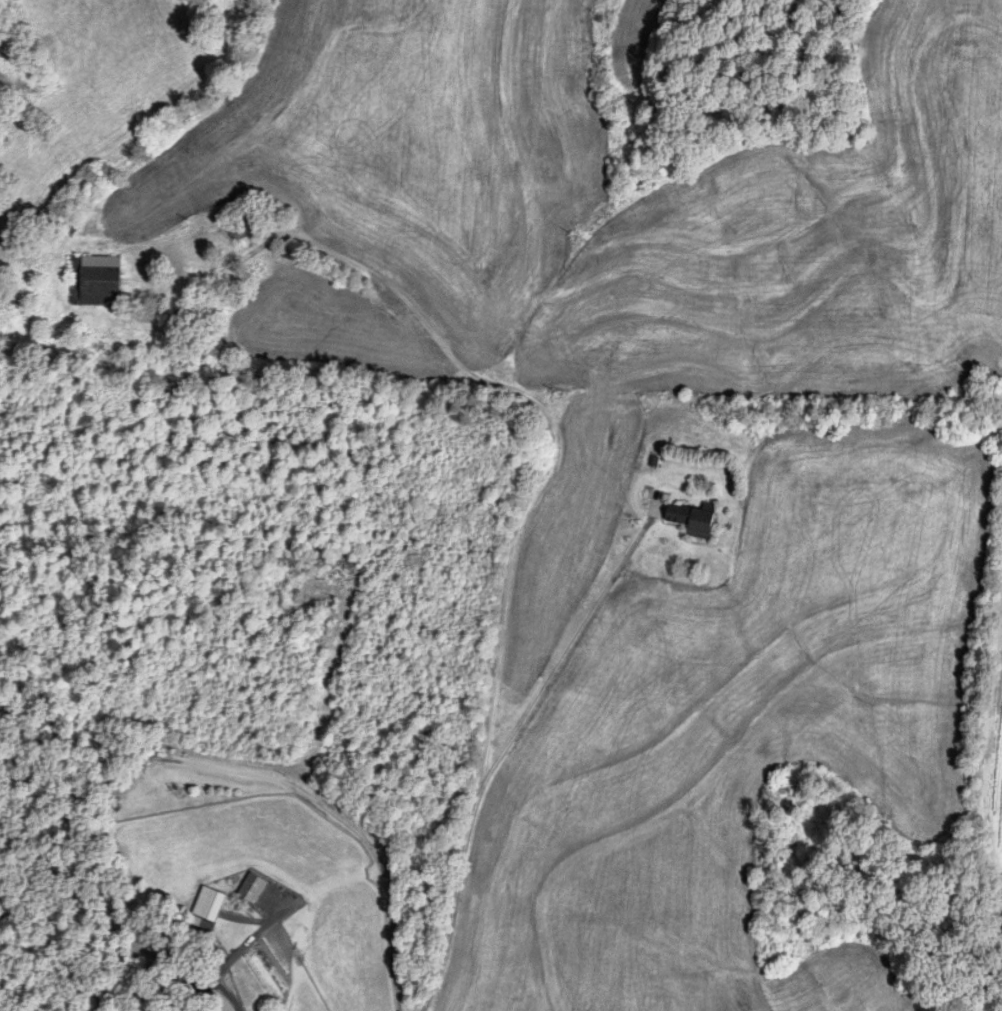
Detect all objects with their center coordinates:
building: (241, 228)
building: (95, 281)
building: (693, 519)
road: (567, 652)
road: (488, 719)
road: (271, 778)
building: (252, 888)
building: (207, 908)
road: (238, 953)
building: (180, 979)

